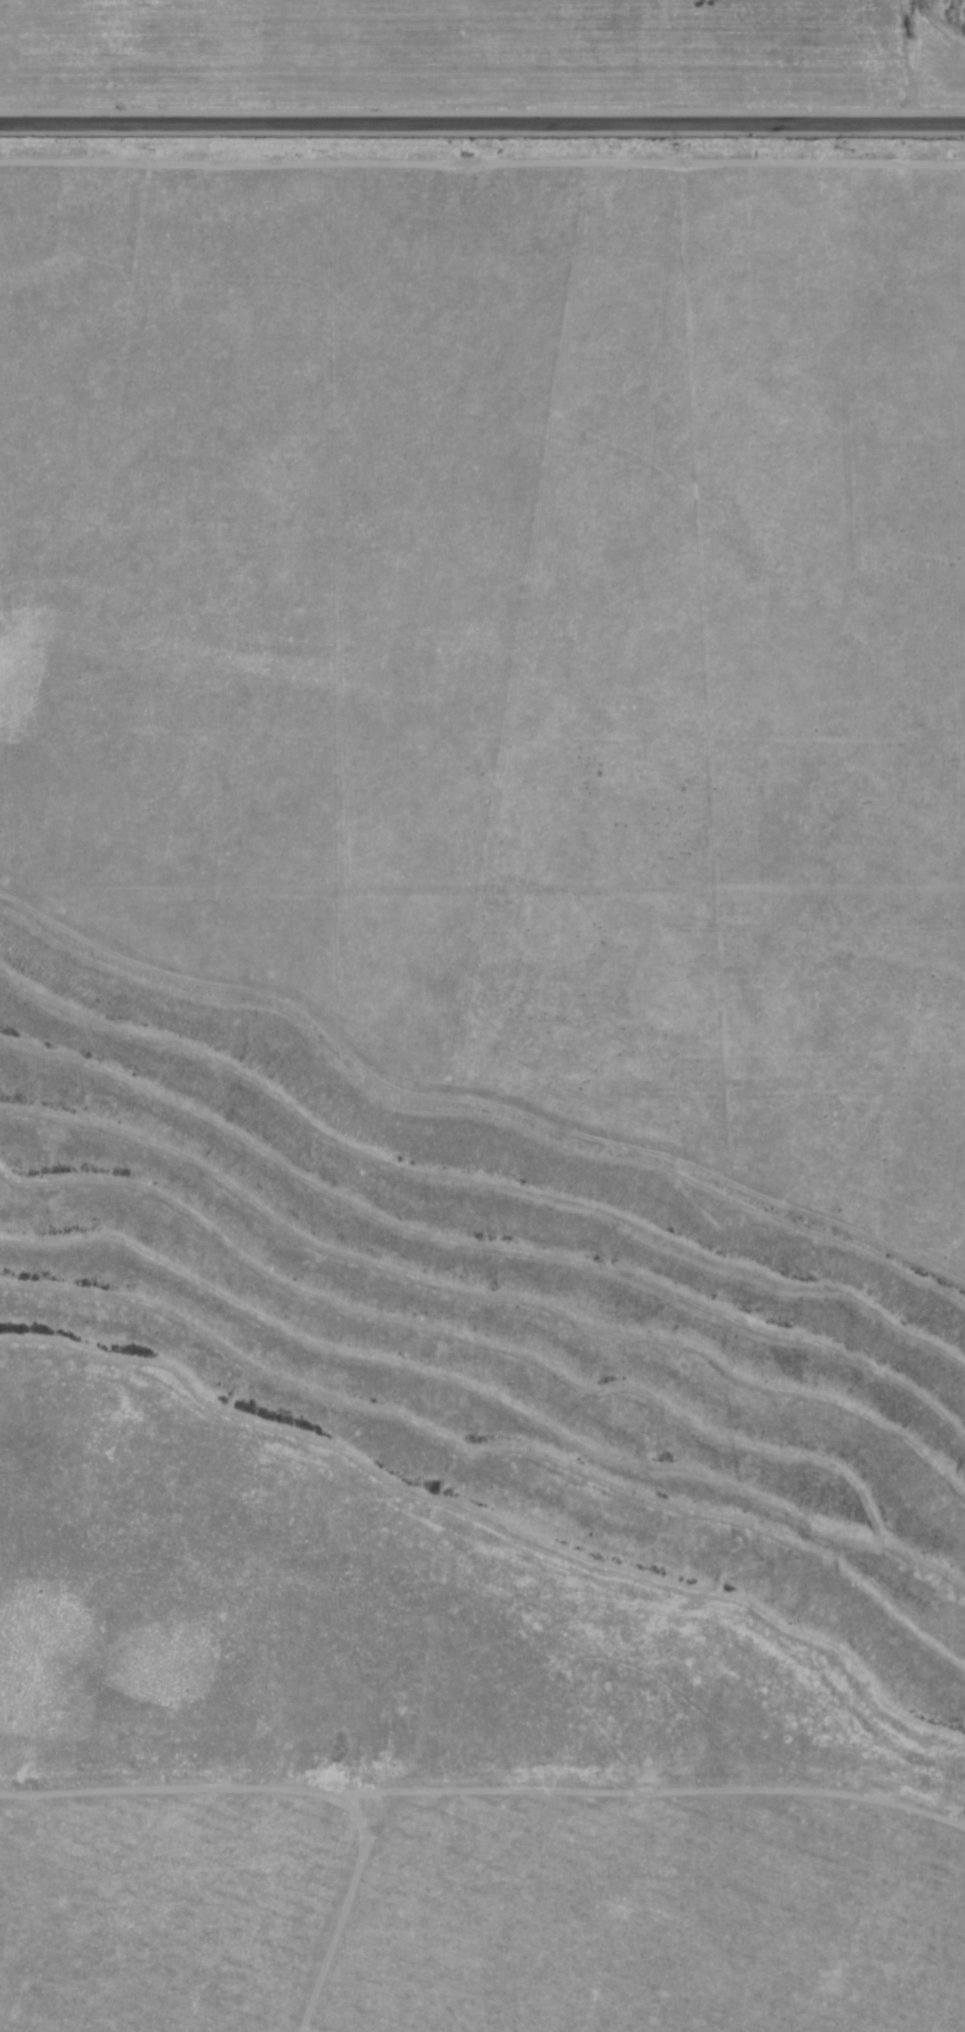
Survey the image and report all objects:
road: (482, 124)

